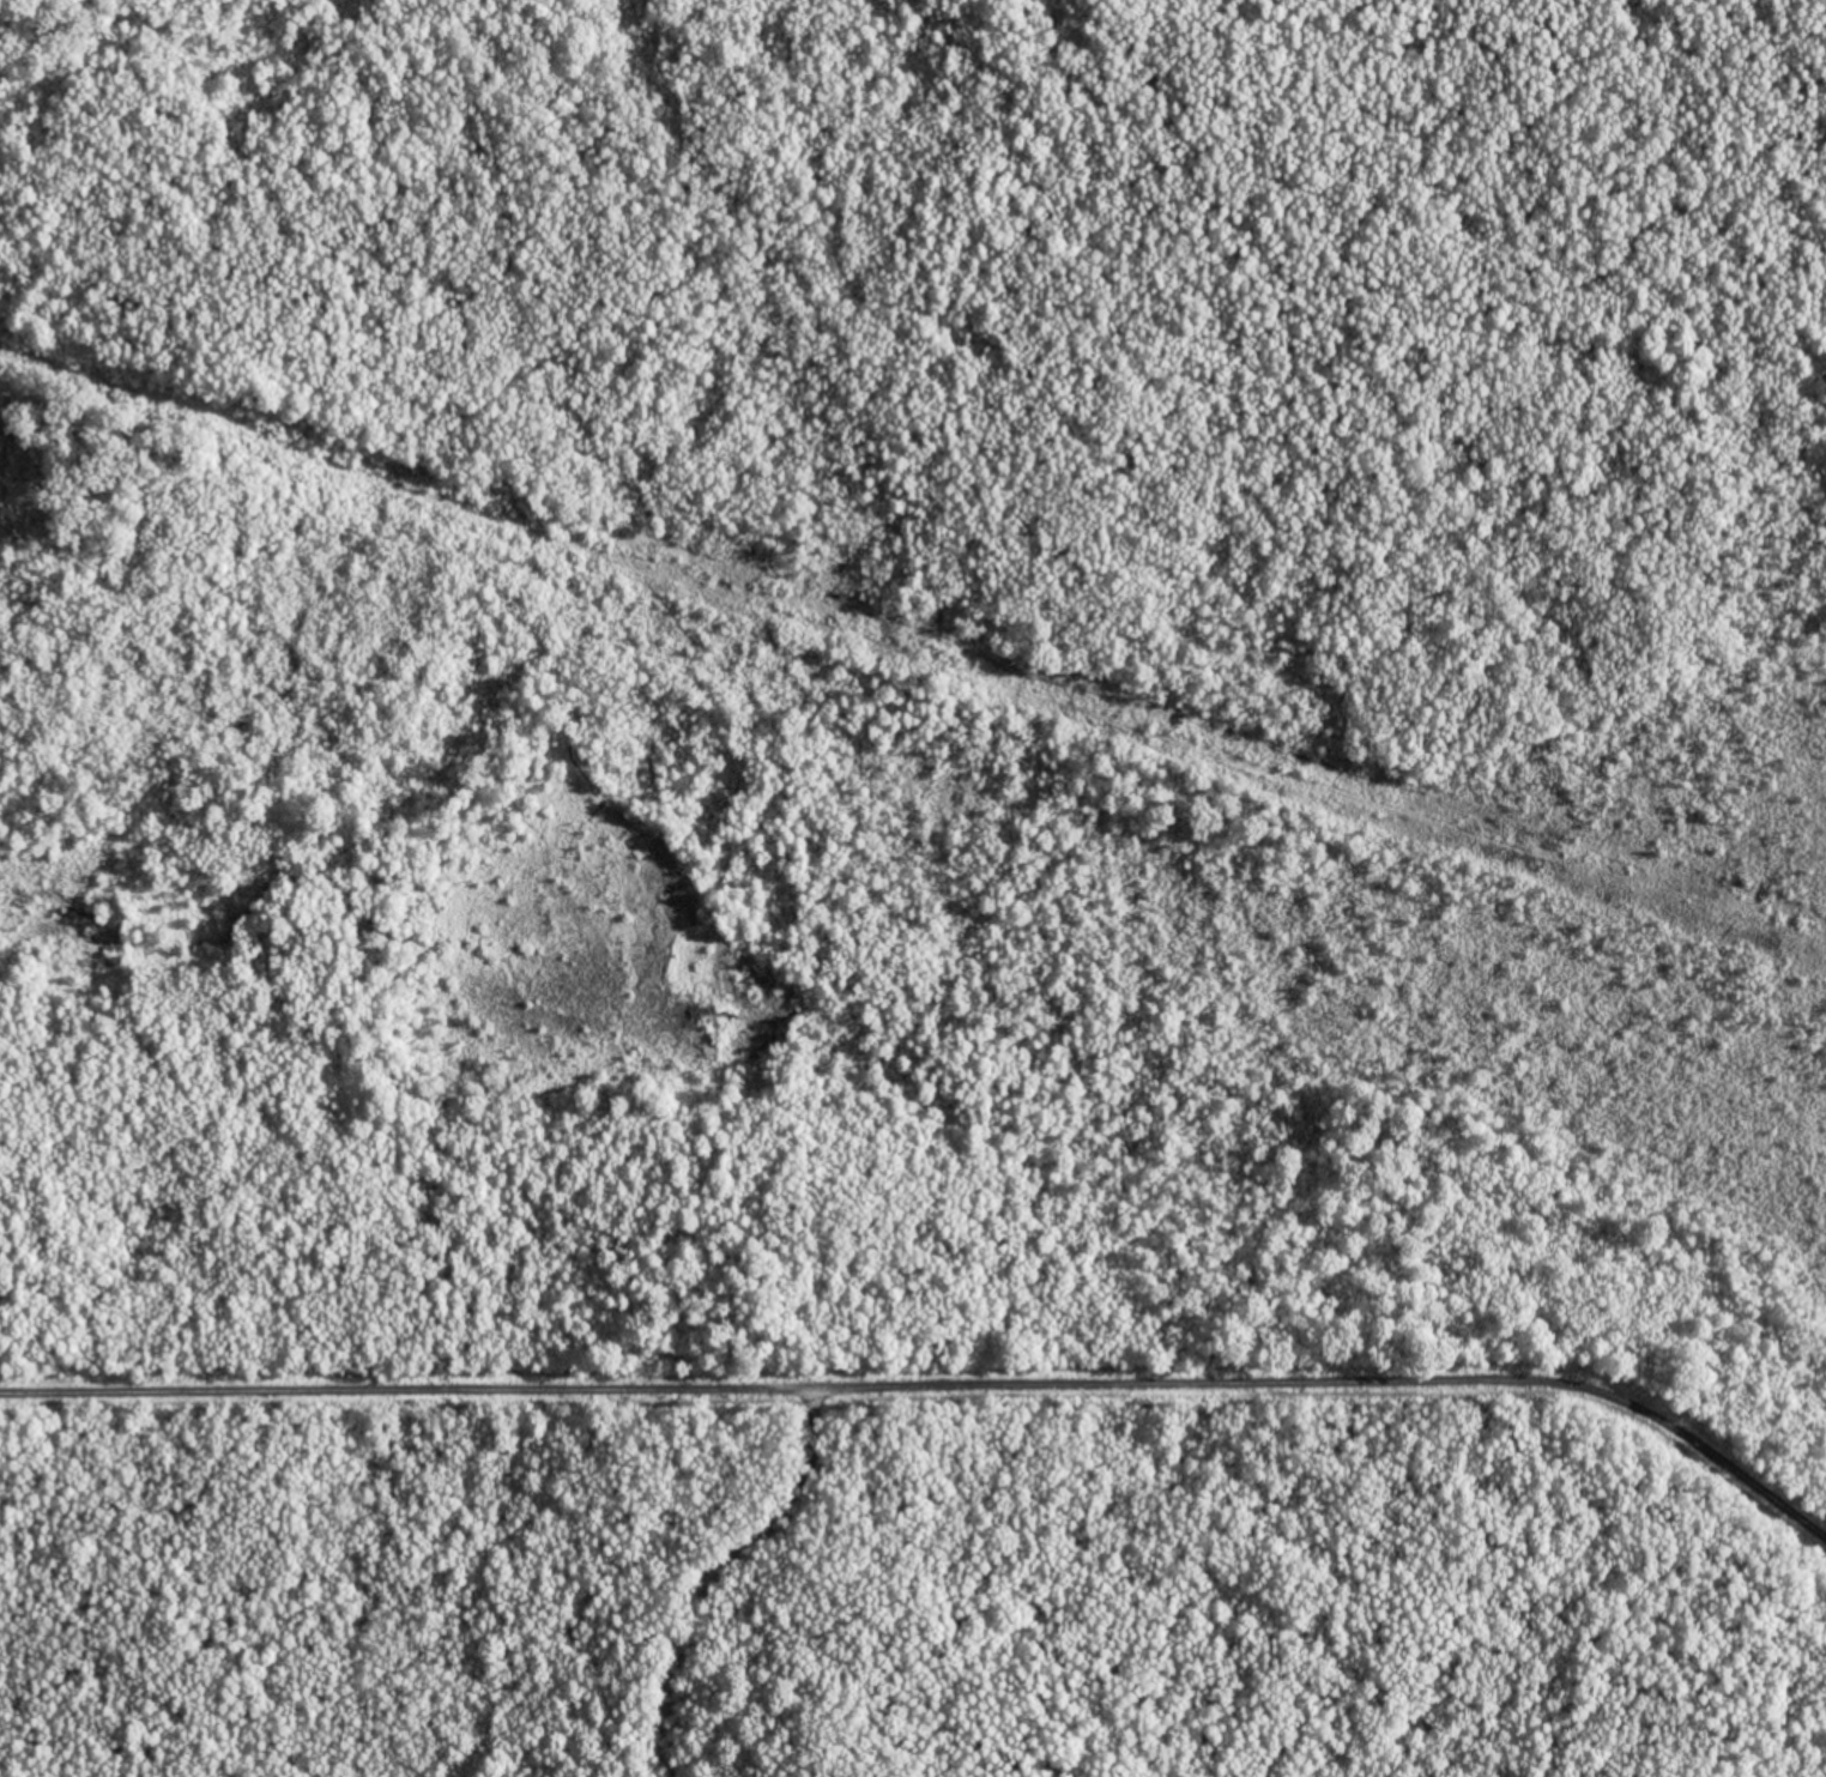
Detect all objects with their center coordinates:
road: (936, 1391)

